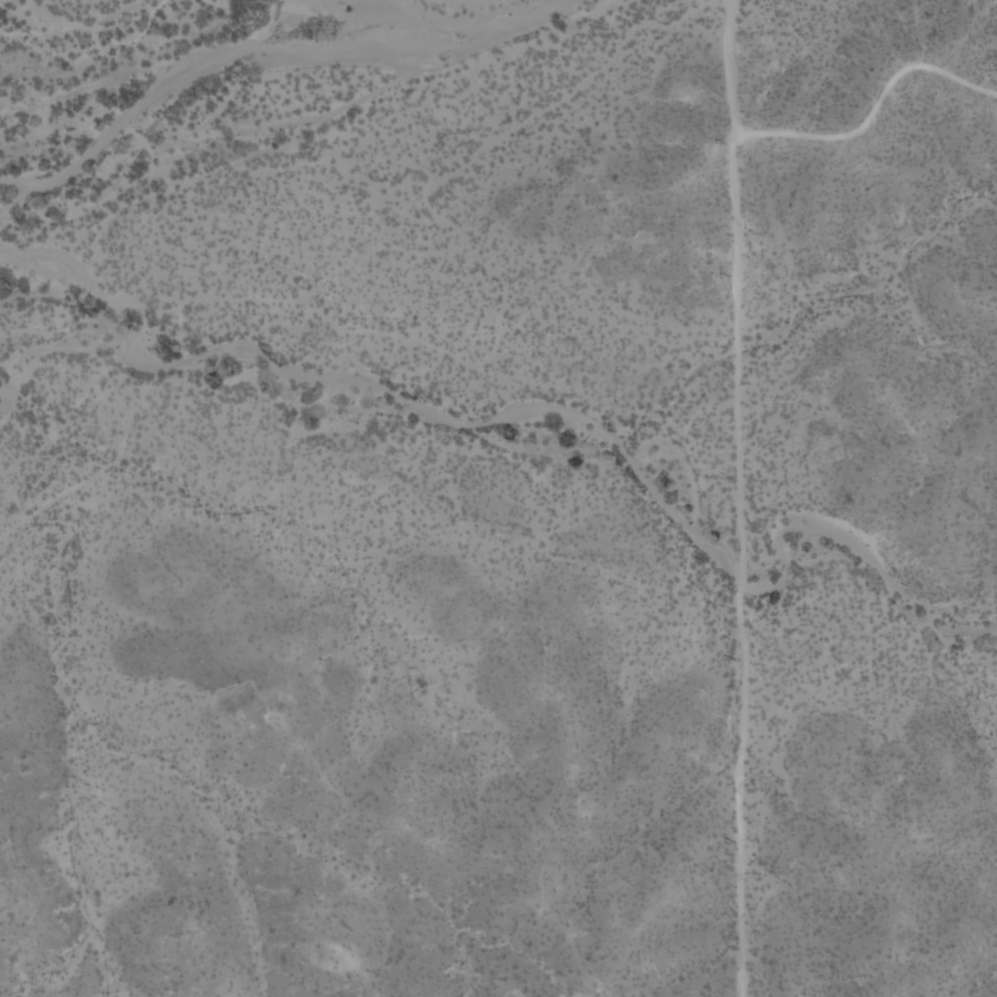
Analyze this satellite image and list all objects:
road: (877, 108)
road: (739, 498)

